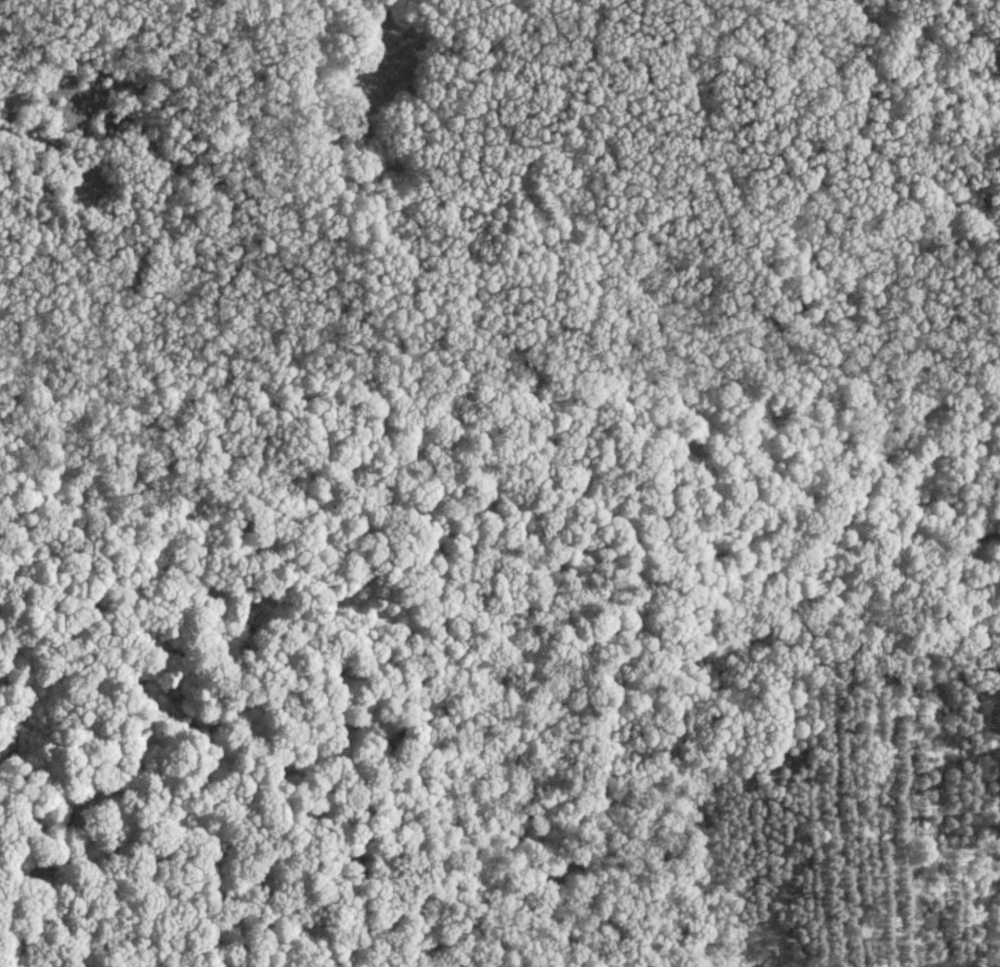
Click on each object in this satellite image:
road: (843, 31)

